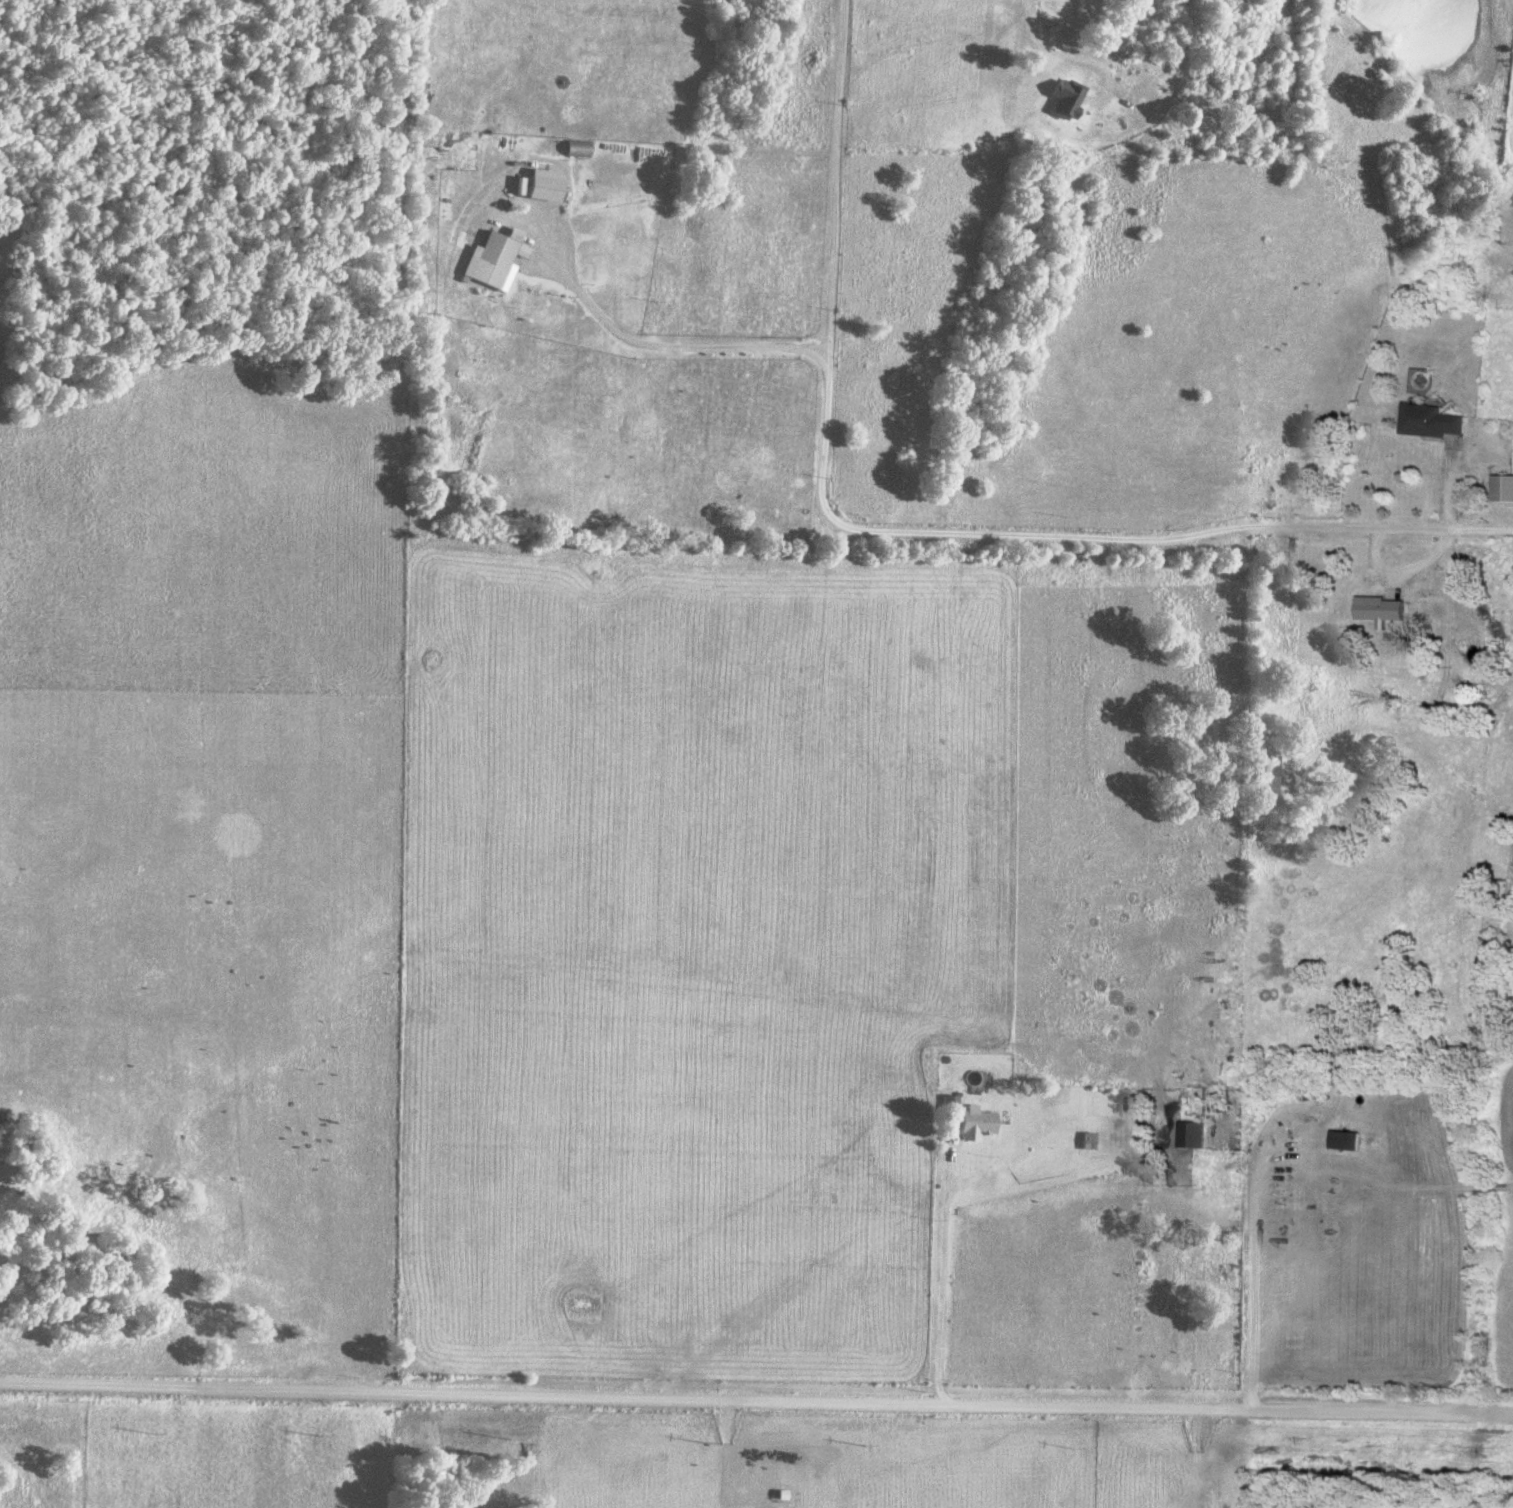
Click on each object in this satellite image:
road: (1028, 27)
building: (1055, 98)
road: (830, 177)
building: (494, 261)
road: (642, 347)
building: (1426, 422)
road: (1447, 487)
building: (1500, 489)
road: (1085, 541)
building: (1266, 776)
building: (970, 1124)
building: (1186, 1135)
building: (1081, 1143)
road: (937, 1272)
road: (1253, 1279)
road: (756, 1403)

